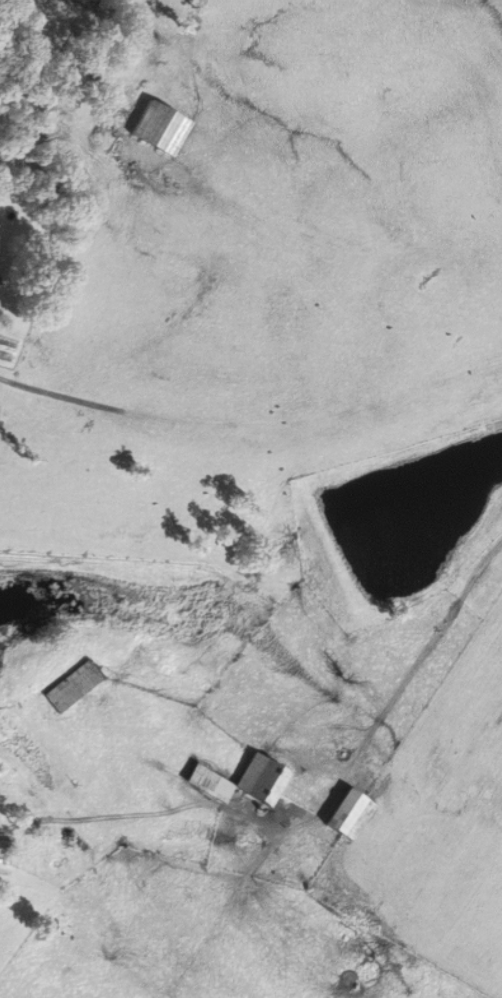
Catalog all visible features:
building: (159, 127)
building: (72, 685)
building: (259, 779)
building: (347, 814)
building: (5, 848)

